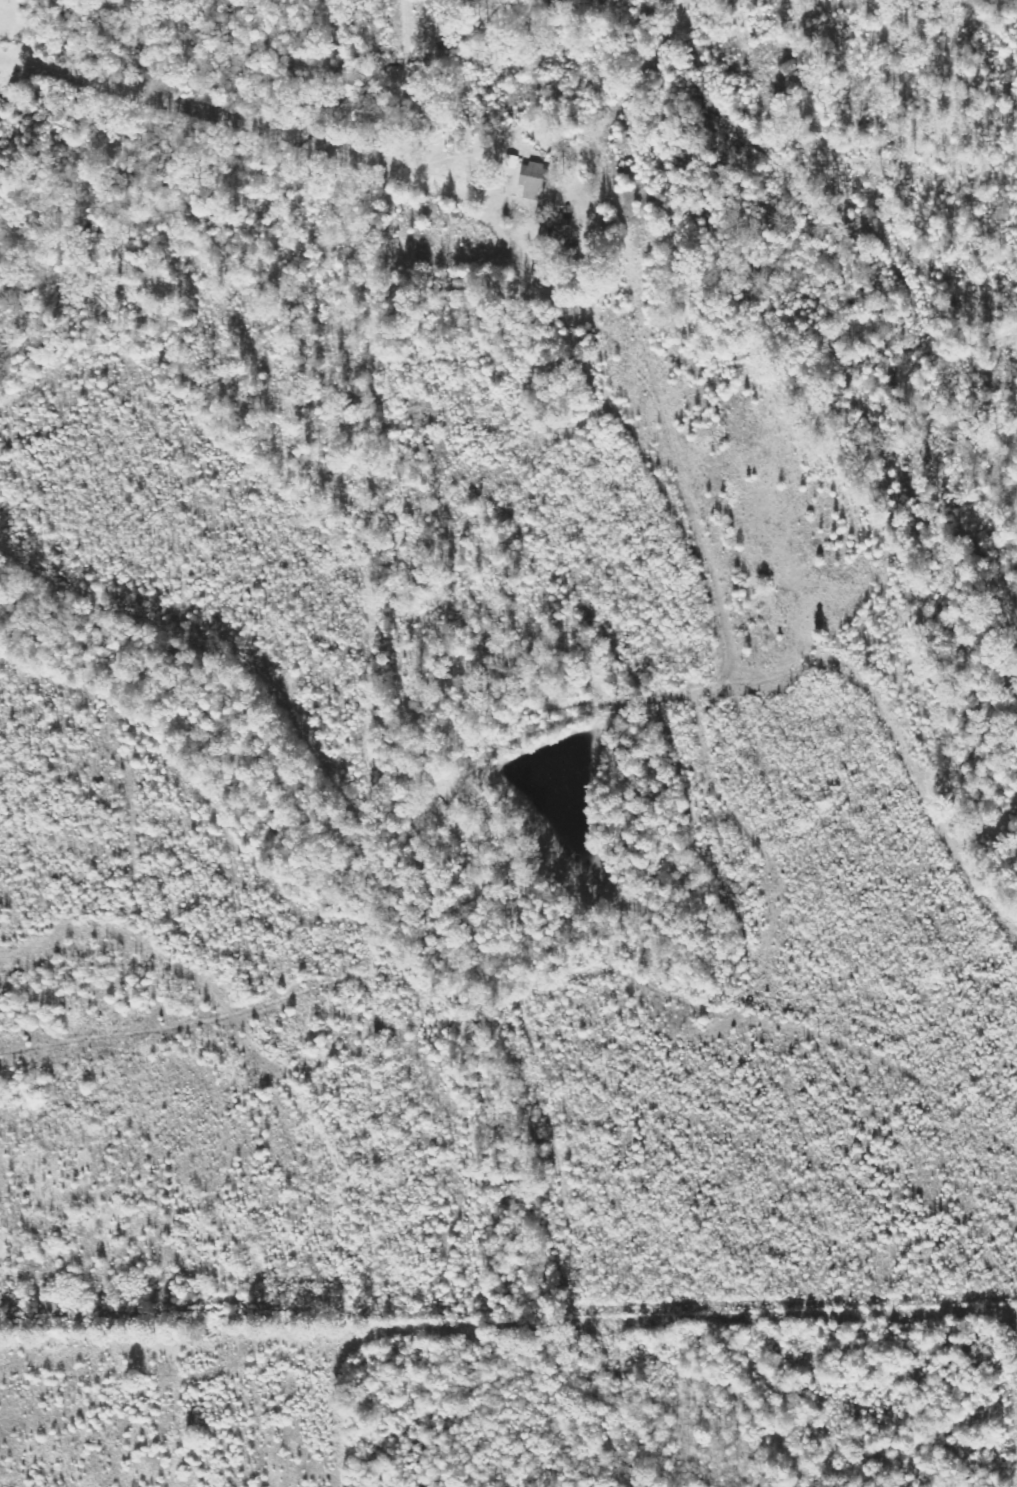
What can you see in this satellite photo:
road: (390, 131)
building: (526, 174)

